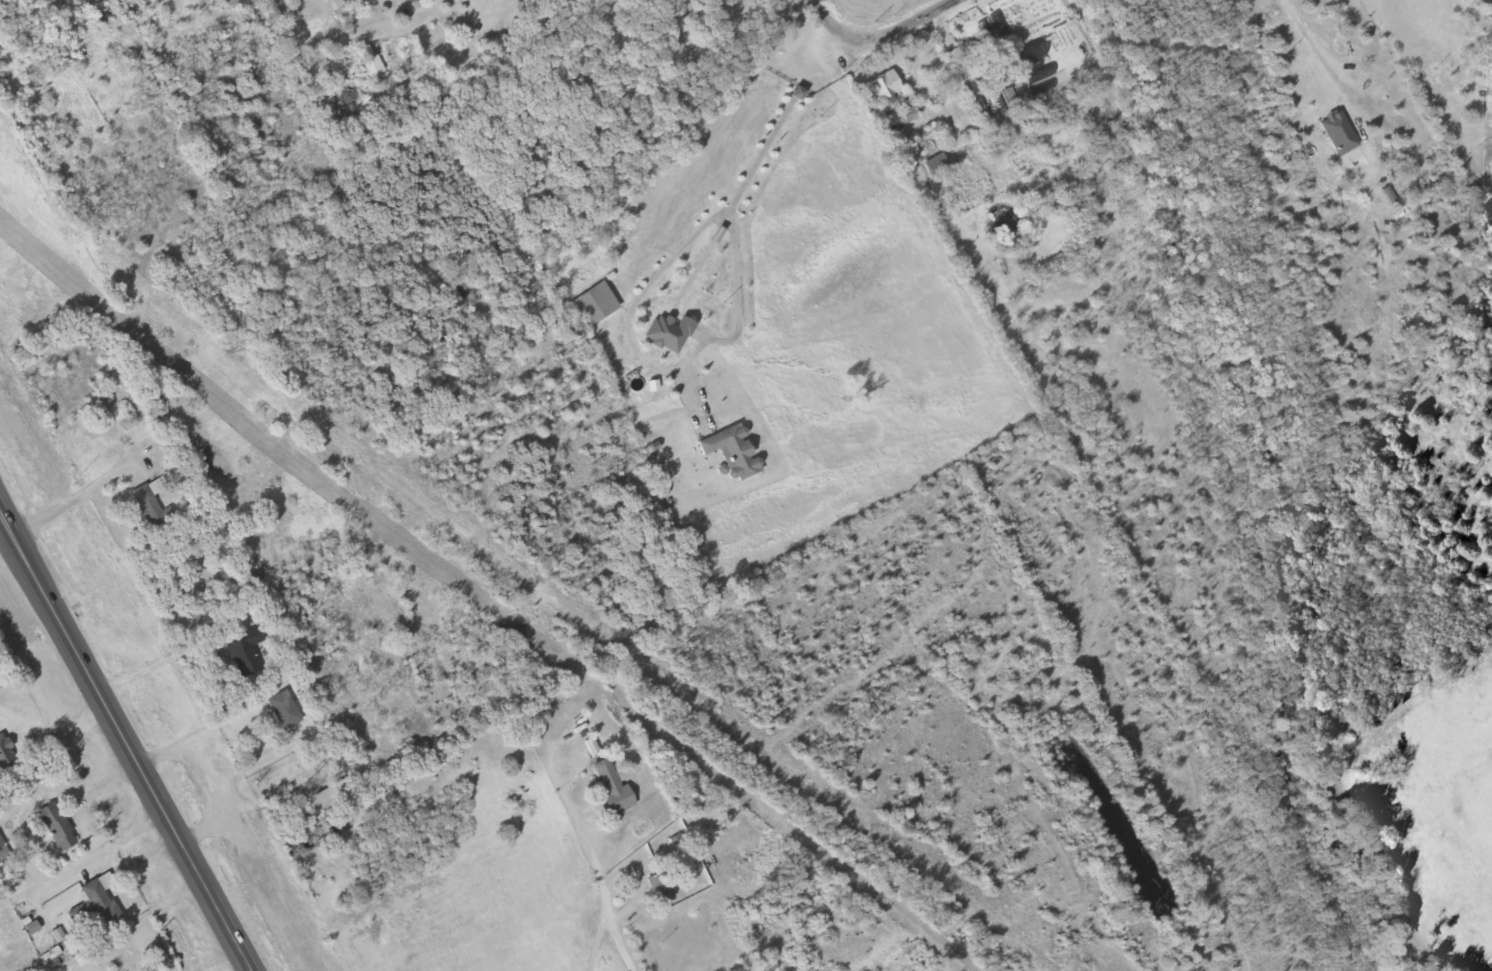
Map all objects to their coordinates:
road: (879, 39)
building: (372, 63)
building: (1037, 69)
building: (885, 85)
building: (937, 166)
building: (594, 305)
building: (668, 334)
building: (731, 453)
building: (151, 507)
building: (246, 653)
building: (284, 711)
road: (124, 743)
building: (13, 760)
building: (611, 786)
building: (57, 828)
building: (69, 831)
building: (4, 856)
building: (659, 890)
building: (111, 902)
building: (72, 947)
building: (51, 960)

